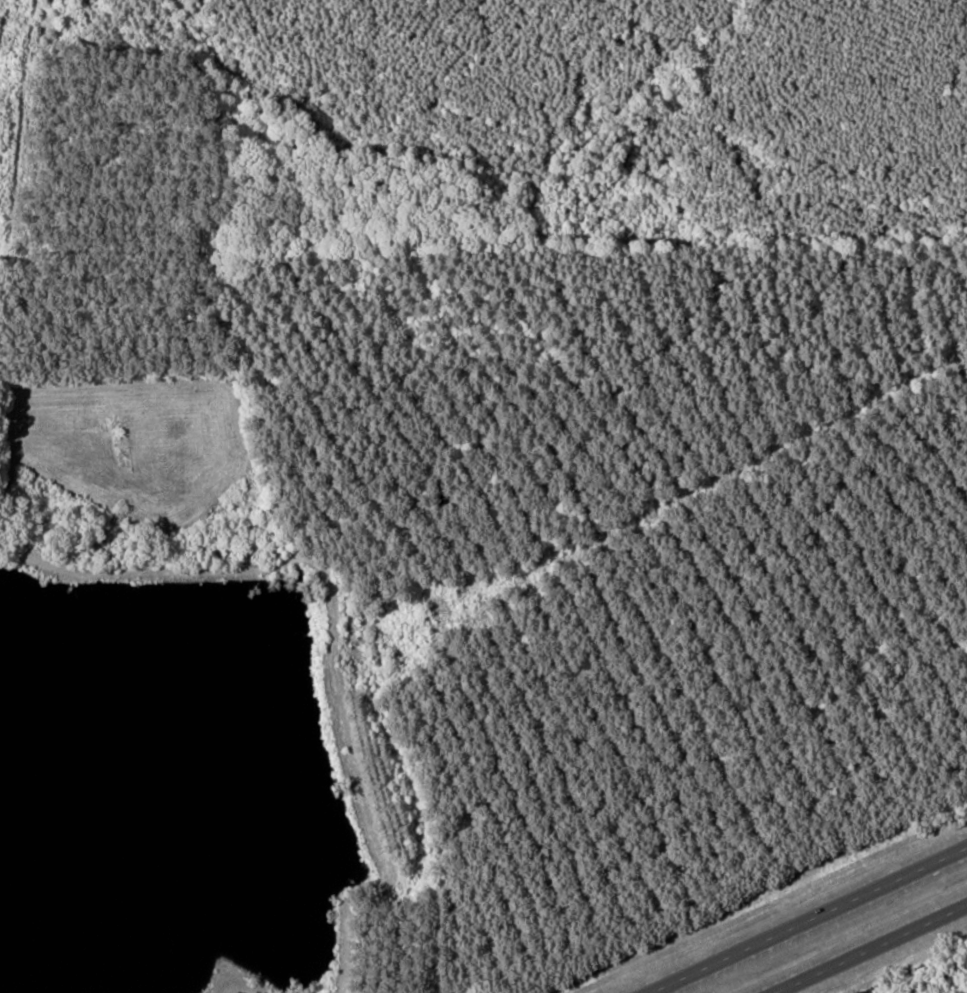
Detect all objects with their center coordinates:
road: (807, 919)
road: (869, 948)

